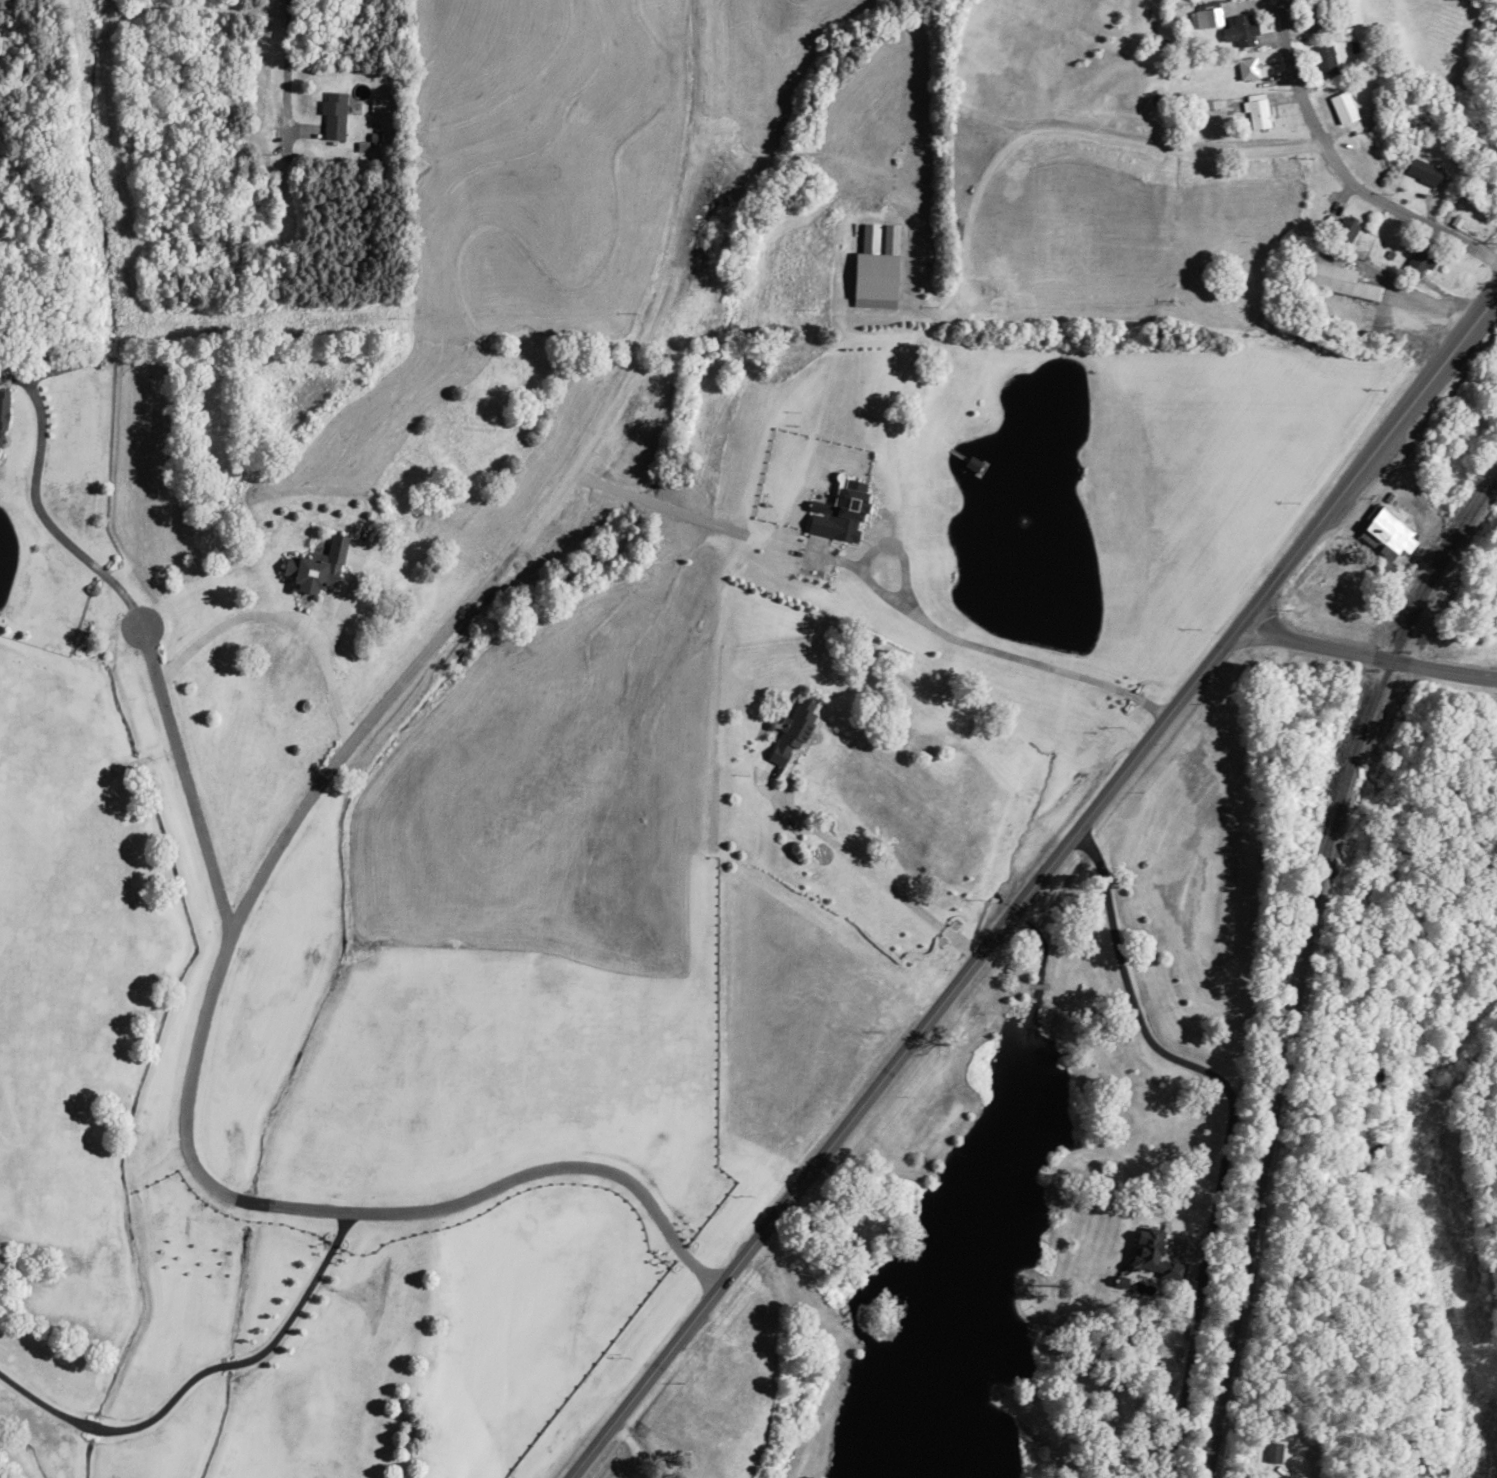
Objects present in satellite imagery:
building: (1205, 14)
building: (1314, 18)
building: (1240, 31)
building: (1323, 59)
building: (1247, 68)
building: (1342, 107)
building: (1256, 110)
building: (333, 116)
road: (288, 137)
road: (1338, 170)
building: (1422, 171)
building: (1344, 229)
building: (1417, 261)
building: (1341, 280)
building: (2, 409)
building: (0, 441)
building: (1384, 529)
building: (317, 568)
road: (1367, 656)
building: (793, 732)
road: (1042, 884)
road: (841, 944)
railway: (1300, 957)
building: (1272, 1452)
road: (1310, 1475)
building: (1270, 1477)

